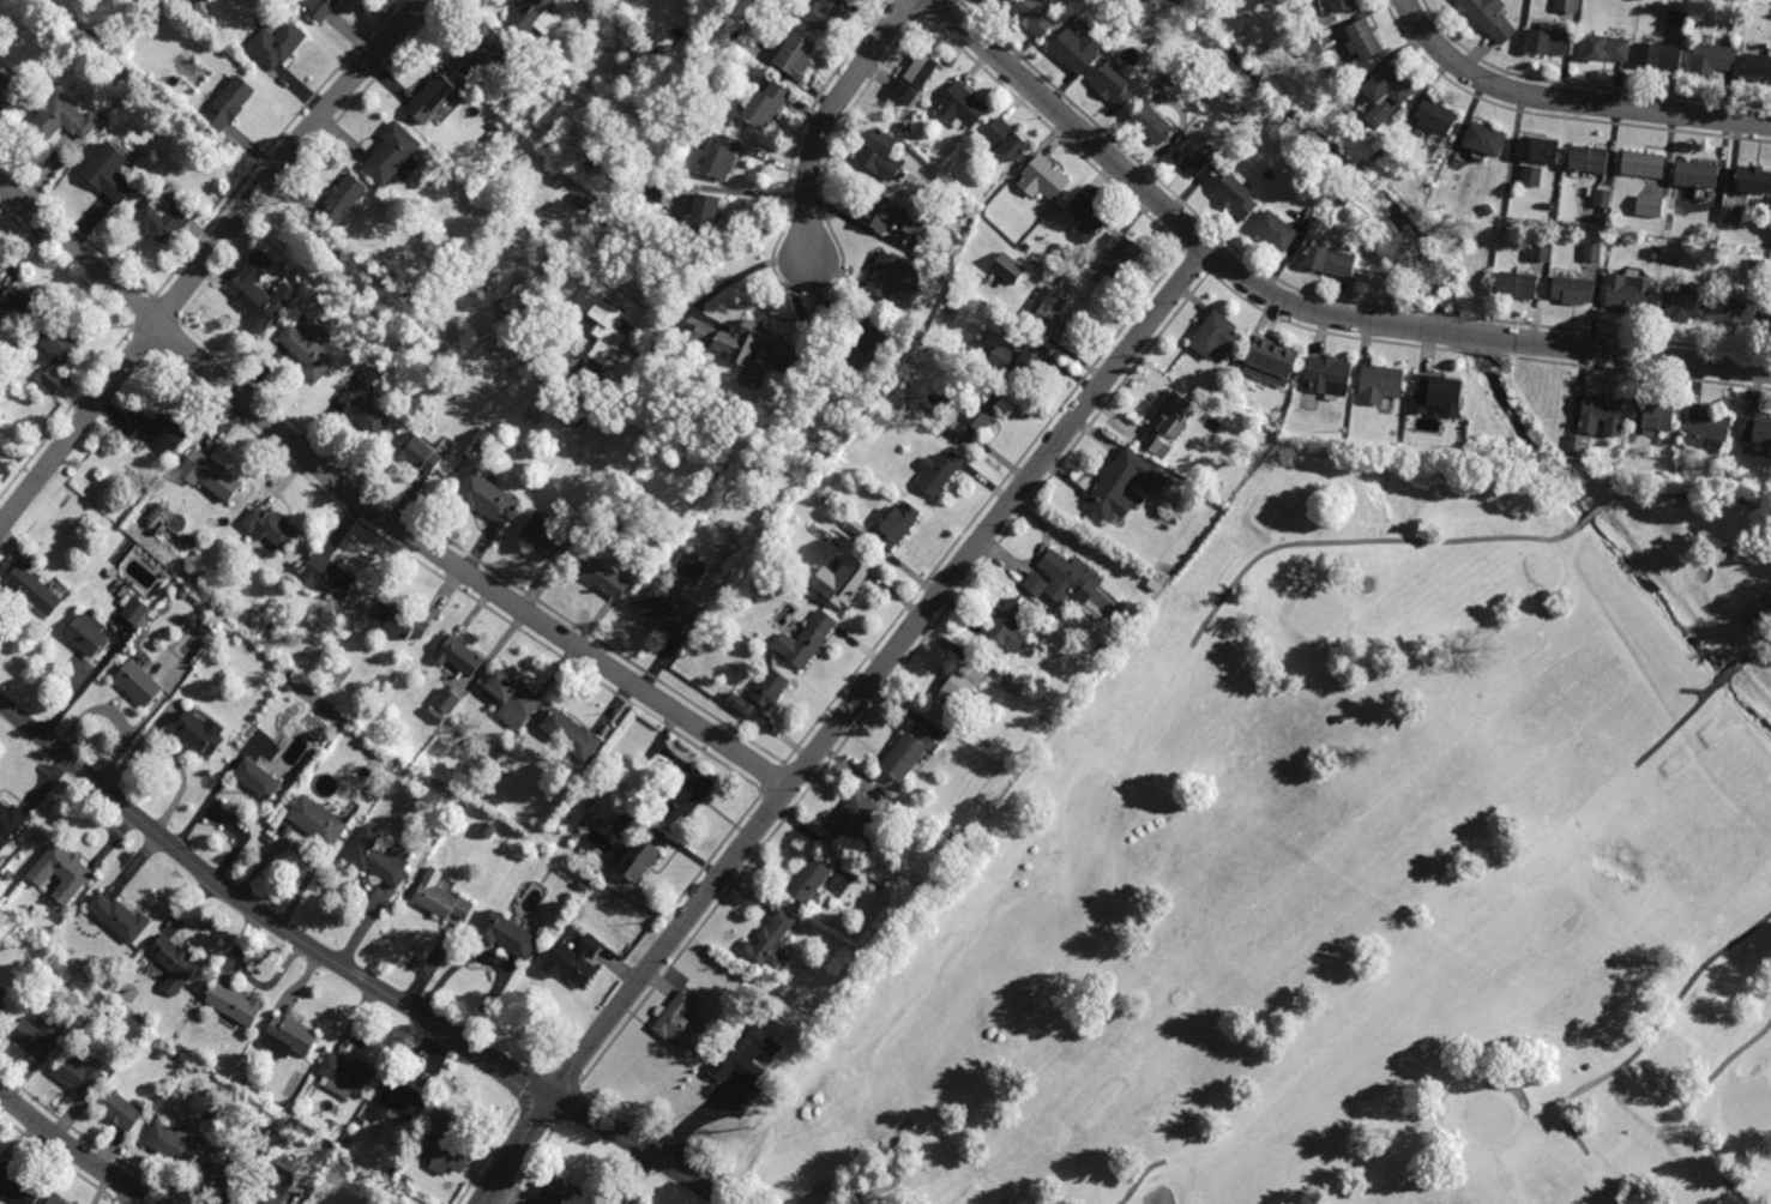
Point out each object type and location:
building: (1119, 4)
building: (1565, 5)
building: (199, 6)
building: (590, 6)
building: (1338, 6)
building: (321, 8)
building: (825, 14)
building: (1031, 17)
building: (1486, 17)
building: (535, 18)
building: (1676, 19)
park: (712, 29)
building: (735, 34)
building: (1359, 41)
building: (279, 43)
building: (1309, 43)
building: (1547, 43)
building: (1603, 50)
building: (481, 52)
building: (1074, 52)
building: (794, 58)
building: (1657, 58)
building: (1711, 62)
building: (1758, 68)
building: (1331, 71)
building: (914, 79)
building: (1110, 86)
building: (1385, 94)
building: (8, 95)
building: (435, 96)
building: (508, 96)
road: (1568, 101)
building: (230, 103)
building: (764, 106)
building: (959, 107)
building: (1434, 115)
road: (829, 118)
building: (64, 120)
road: (1070, 124)
building: (1149, 126)
building: (680, 127)
building: (902, 128)
building: (1482, 140)
building: (1006, 142)
road: (273, 145)
building: (1537, 151)
building: (1379, 153)
building: (397, 155)
building: (879, 156)
building: (719, 158)
building: (1188, 161)
building: (1586, 161)
building: (1293, 162)
building: (1301, 165)
building: (1642, 167)
building: (112, 175)
building: (1530, 175)
building: (1694, 175)
building: (1041, 181)
building: (1753, 182)
building: (652, 189)
building: (1234, 197)
building: (1601, 198)
building: (1343, 199)
building: (347, 200)
building: (594, 204)
building: (1544, 205)
building: (1647, 205)
building: (1488, 209)
building: (700, 217)
building: (1730, 217)
building: (165, 218)
building: (885, 218)
building: (1084, 219)
building: (1506, 227)
road: (76, 229)
building: (1273, 231)
road: (1195, 240)
building: (1541, 251)
building: (1590, 252)
building: (1652, 252)
building: (1116, 257)
road: (204, 258)
building: (929, 259)
road: (1218, 259)
road: (1195, 261)
building: (1329, 263)
building: (1007, 266)
building: (1755, 267)
road: (65, 269)
building: (447, 269)
building: (1086, 269)
road: (742, 273)
building: (894, 275)
building: (1516, 287)
building: (1572, 290)
building: (263, 294)
building: (1627, 294)
road: (1312, 295)
building: (1682, 303)
building: (23, 305)
building: (399, 306)
road: (165, 308)
road: (141, 312)
building: (1734, 312)
building: (1047, 315)
building: (612, 324)
building: (1770, 324)
road: (169, 335)
road: (1480, 335)
road: (144, 338)
building: (1213, 338)
building: (62, 344)
building: (747, 345)
building: (970, 345)
building: (311, 350)
building: (865, 351)
road: (1481, 353)
building: (1022, 360)
building: (1267, 363)
building: (553, 366)
building: (1326, 377)
building: (567, 378)
building: (1378, 385)
building: (1434, 397)
road: (65, 413)
building: (362, 413)
building: (1600, 416)
building: (977, 417)
building: (1652, 417)
building: (579, 421)
building: (1164, 427)
building: (1705, 427)
building: (156, 429)
building: (650, 432)
building: (1755, 432)
building: (1576, 444)
building: (415, 454)
building: (1572, 458)
building: (1723, 458)
building: (938, 471)
building: (211, 476)
building: (1669, 480)
building: (1110, 494)
building: (484, 499)
road: (377, 507)
road: (983, 507)
building: (697, 520)
building: (896, 526)
building: (266, 529)
building: (538, 535)
road: (470, 555)
building: (266, 556)
building: (114, 572)
building: (603, 578)
building: (325, 579)
road: (448, 584)
building: (838, 584)
building: (1076, 588)
building: (31, 591)
building: (167, 597)
building: (137, 609)
building: (203, 612)
building: (663, 613)
building: (399, 620)
building: (245, 622)
building: (271, 627)
building: (1122, 627)
building: (1004, 630)
building: (233, 631)
building: (84, 636)
building: (1114, 637)
building: (806, 642)
road: (1754, 649)
building: (1108, 654)
building: (458, 657)
road: (1727, 674)
road: (892, 678)
road: (85, 684)
building: (135, 684)
building: (289, 685)
building: (954, 690)
road: (1694, 692)
building: (759, 694)
building: (446, 699)
building: (511, 700)
building: (435, 714)
road: (838, 721)
road: (1676, 724)
building: (195, 735)
building: (568, 736)
building: (378, 747)
building: (500, 750)
building: (906, 751)
building: (504, 770)
road: (796, 775)
road: (771, 777)
building: (254, 779)
building: (687, 794)
building: (588, 801)
road: (775, 801)
building: (283, 814)
building: (853, 814)
building: (314, 820)
building: (11, 823)
building: (514, 848)
road: (715, 850)
building: (377, 857)
building: (637, 860)
park: (1374, 871)
building: (7, 873)
building: (59, 874)
building: (808, 880)
building: (583, 886)
building: (438, 896)
road: (689, 917)
building: (118, 919)
building: (502, 934)
building: (769, 944)
building: (572, 961)
building: (173, 964)
road: (351, 971)
building: (102, 982)
building: (2, 998)
building: (234, 1004)
building: (86, 1017)
building: (681, 1023)
road: (1651, 1034)
building: (35, 1037)
building: (287, 1039)
building: (182, 1047)
building: (161, 1052)
building: (741, 1054)
building: (347, 1073)
building: (77, 1076)
building: (246, 1083)
building: (255, 1086)
traffic signals: (555, 1095)
building: (400, 1100)
road: (1683, 1101)
road: (566, 1104)
building: (378, 1107)
building: (118, 1110)
building: (212, 1113)
road: (536, 1114)
building: (332, 1122)
building: (270, 1130)
road: (90, 1142)
building: (167, 1144)
building: (273, 1144)
building: (442, 1146)
road: (76, 1151)
road: (488, 1154)
road: (55, 1160)
road: (530, 1164)
building: (219, 1169)
building: (393, 1170)
building: (405, 1179)
road: (125, 1185)
building: (16, 1186)
building: (559, 1194)
road: (158, 1196)
building: (269, 1196)
road: (138, 1198)
building: (388, 1200)
building: (52, 1202)
road: (114, 1202)
road: (120, 1202)
road: (112, 1203)

